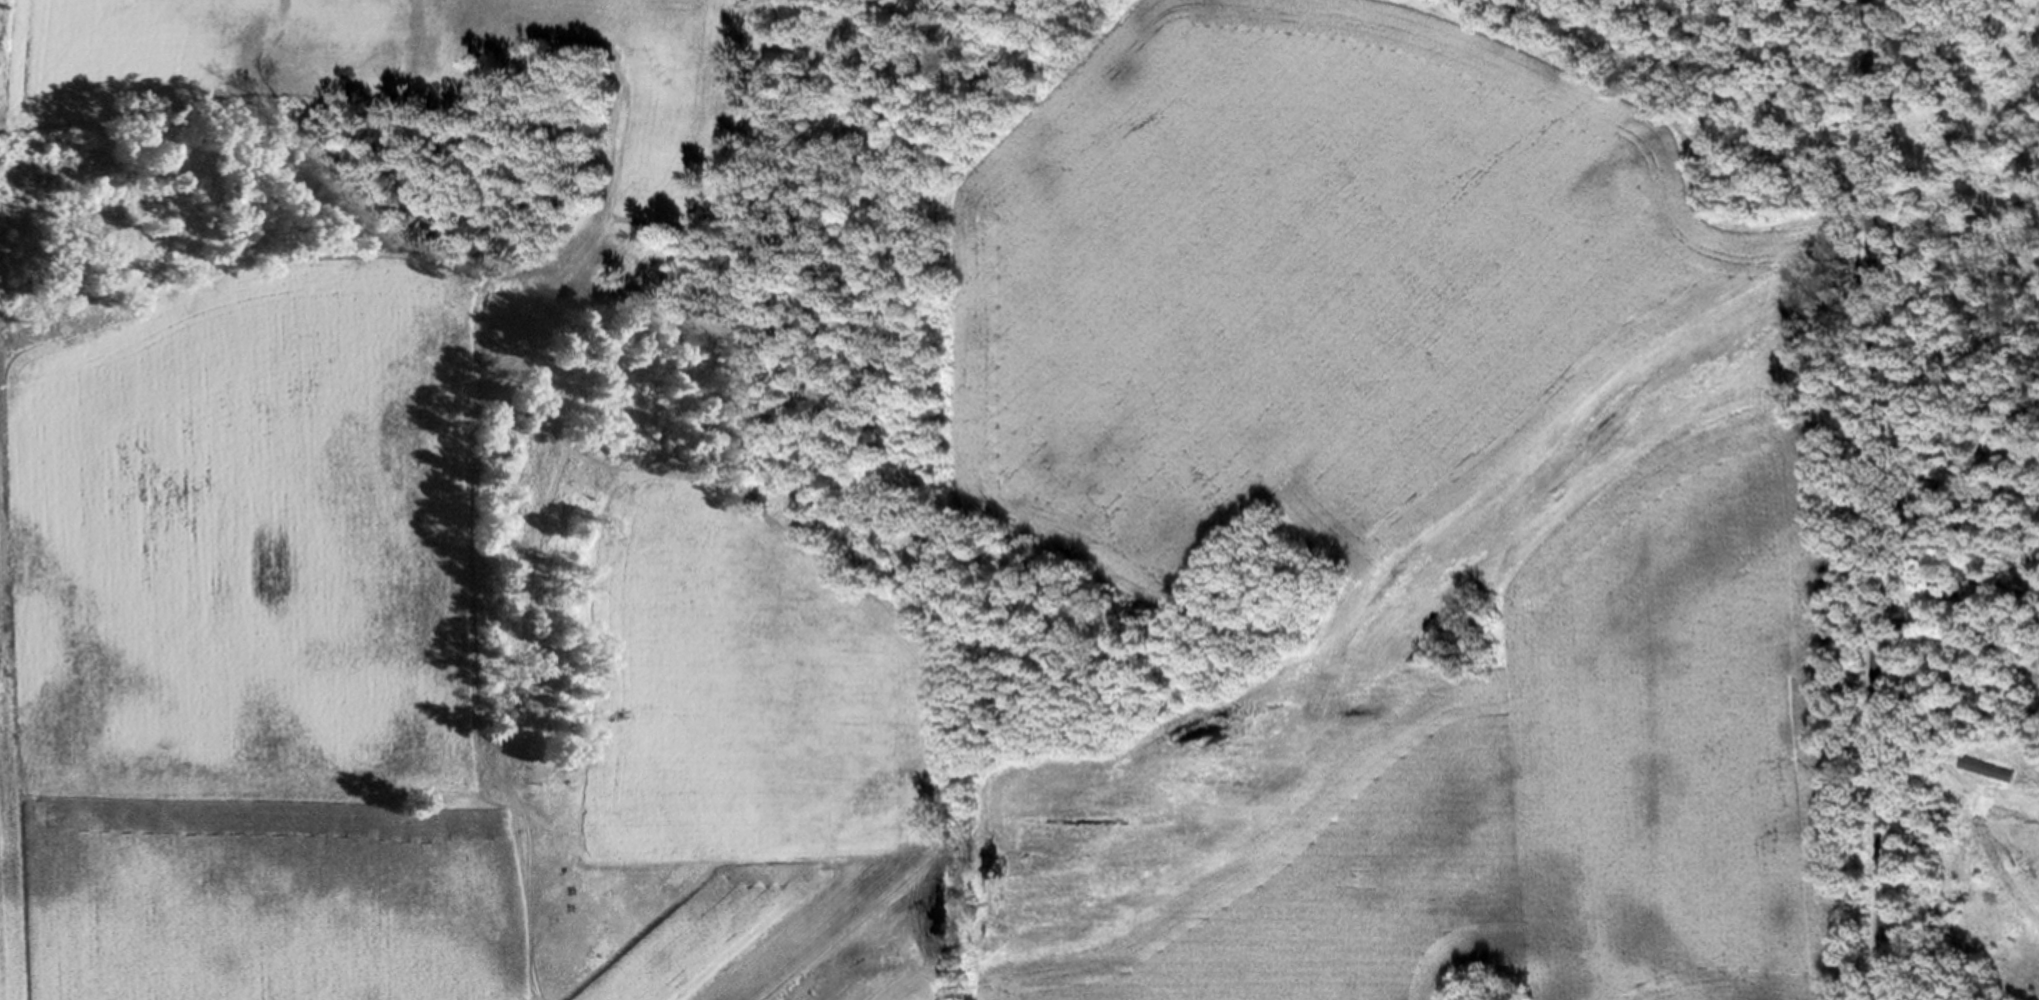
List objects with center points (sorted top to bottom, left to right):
road: (1878, 500)

